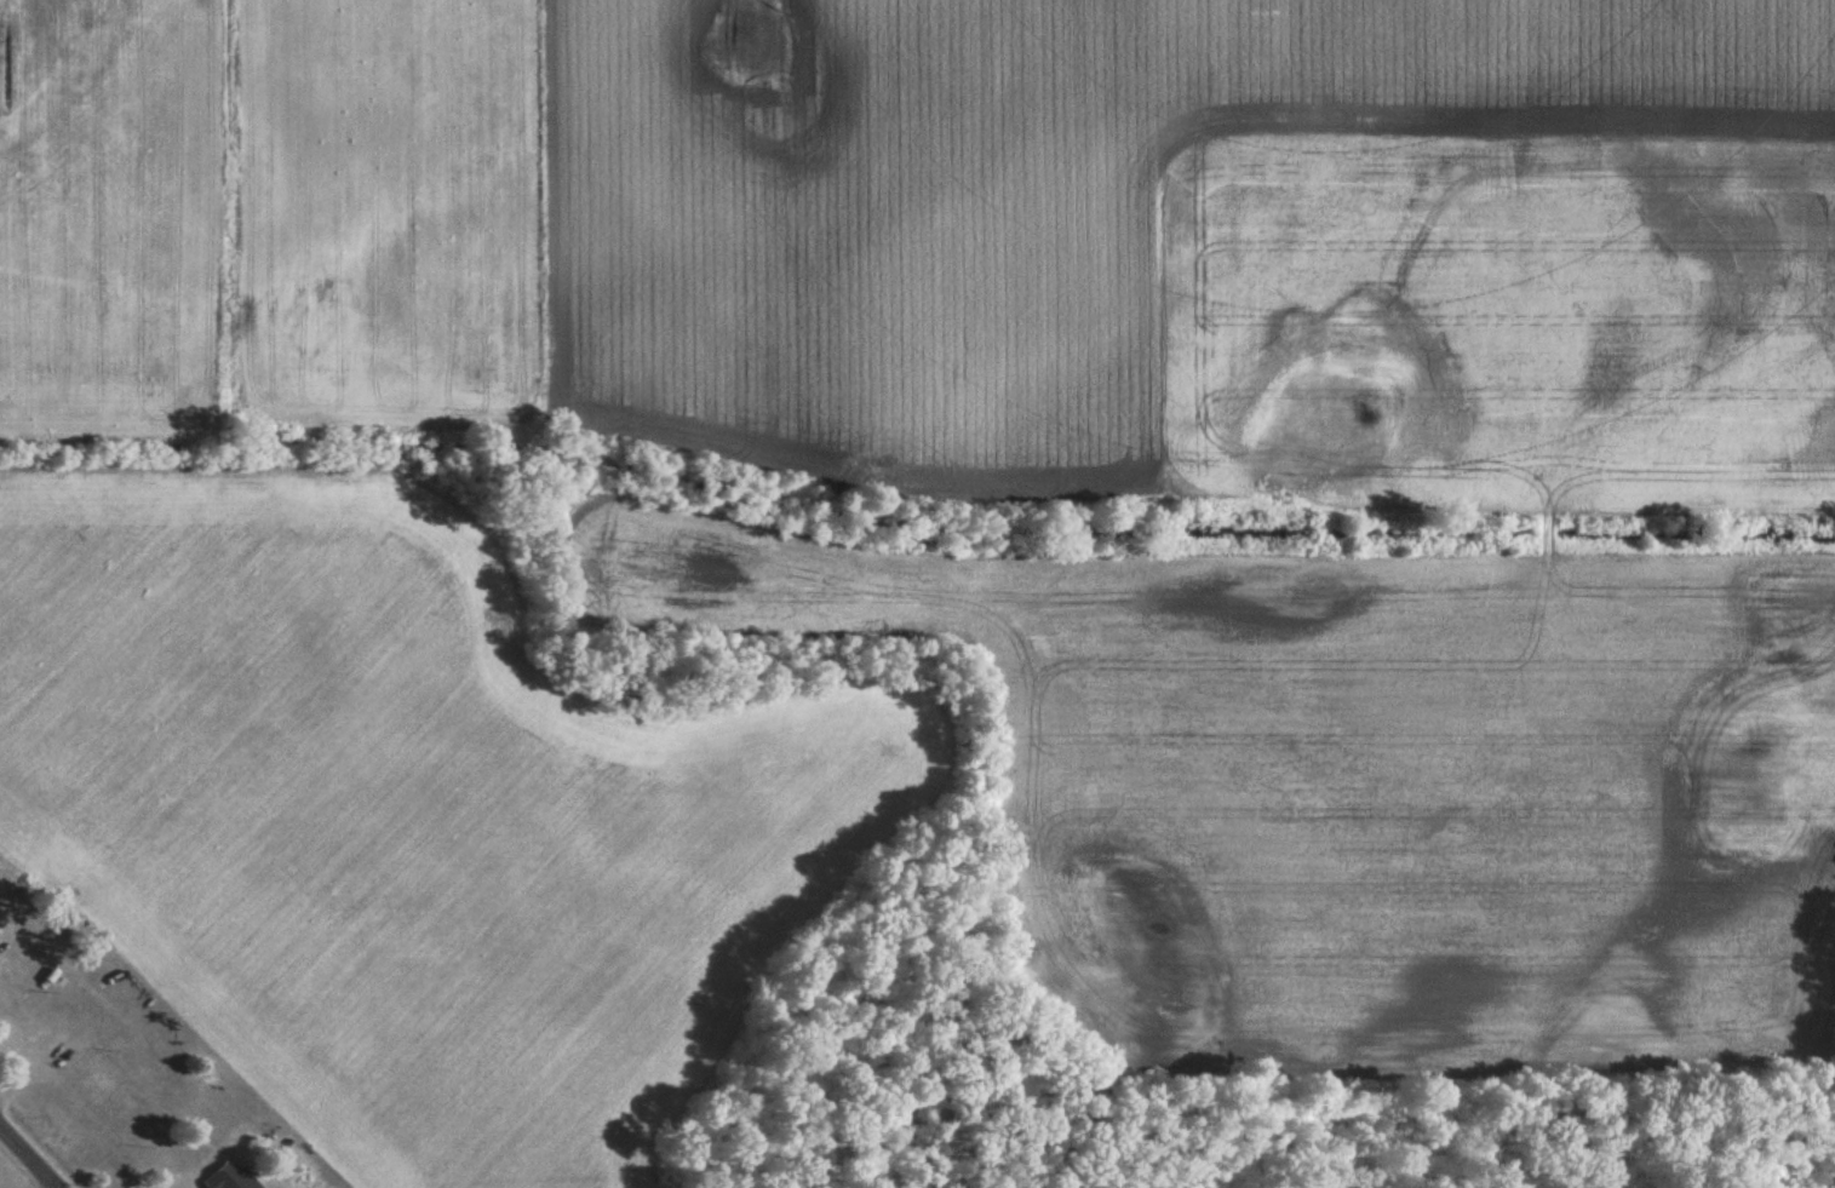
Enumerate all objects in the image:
road: (29, 1157)
building: (224, 1178)

